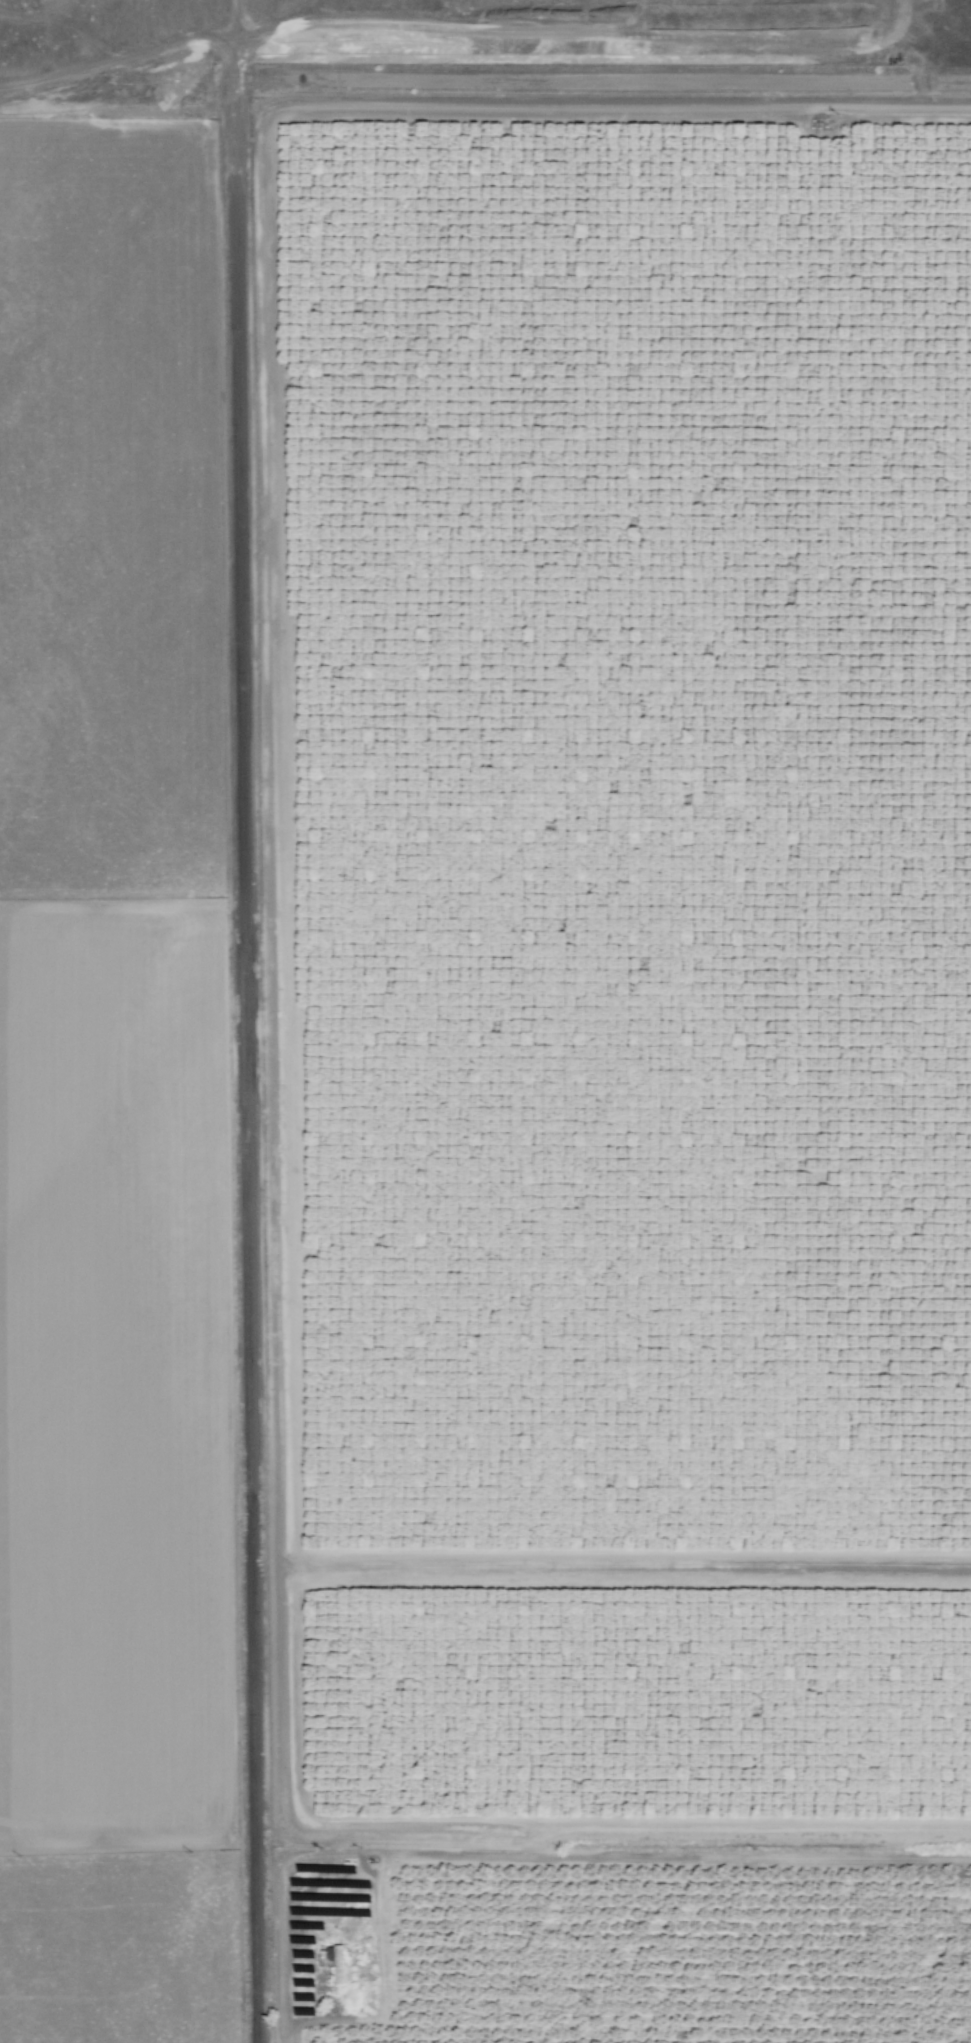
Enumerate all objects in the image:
quarry: (466, 51)
road: (475, 106)
road: (253, 1074)
building: (336, 1963)

